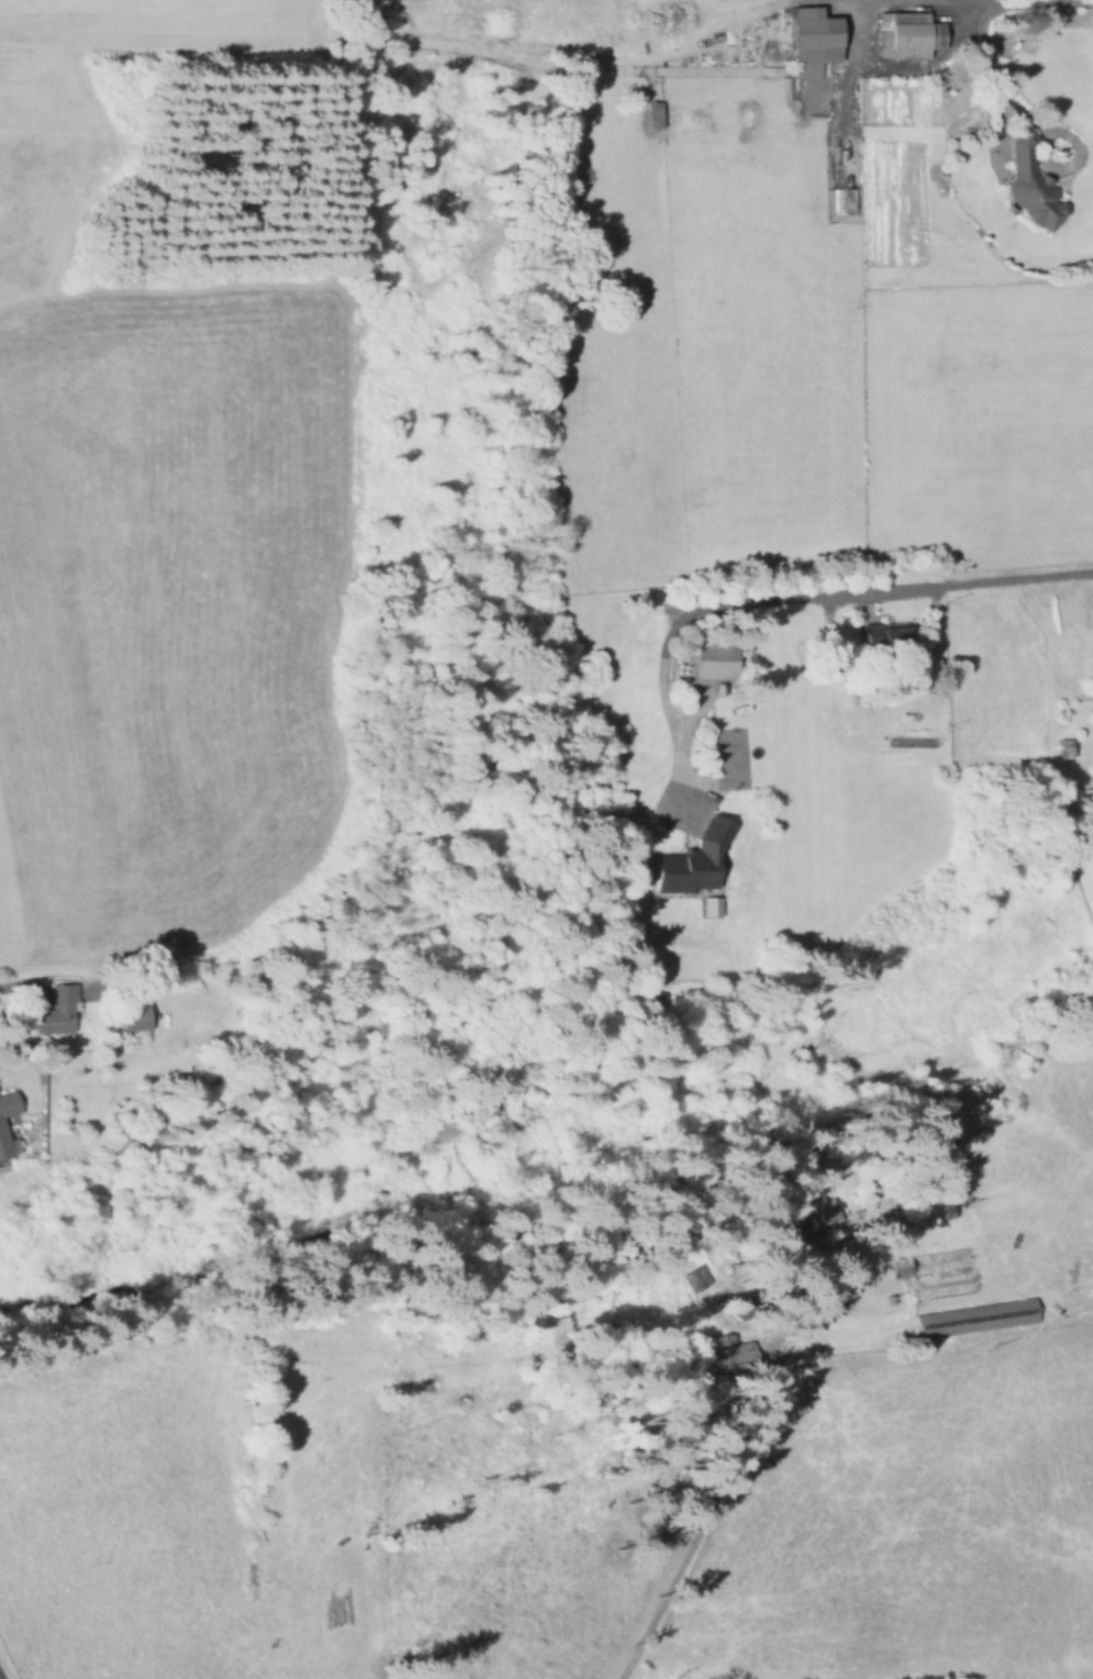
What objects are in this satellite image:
road: (242, 13)
building: (904, 34)
building: (810, 41)
road: (844, 76)
road: (1001, 82)
building: (655, 114)
building: (1033, 184)
building: (841, 205)
road: (910, 587)
road: (683, 616)
building: (886, 638)
building: (713, 659)
road: (699, 720)
road: (674, 732)
building: (1064, 747)
park: (729, 756)
building: (694, 860)
building: (710, 904)
road: (13, 983)
building: (60, 1009)
building: (136, 1016)
building: (3, 1126)
building: (810, 1219)
building: (935, 1272)
building: (691, 1276)
building: (978, 1316)
building: (728, 1363)
road: (716, 1481)

